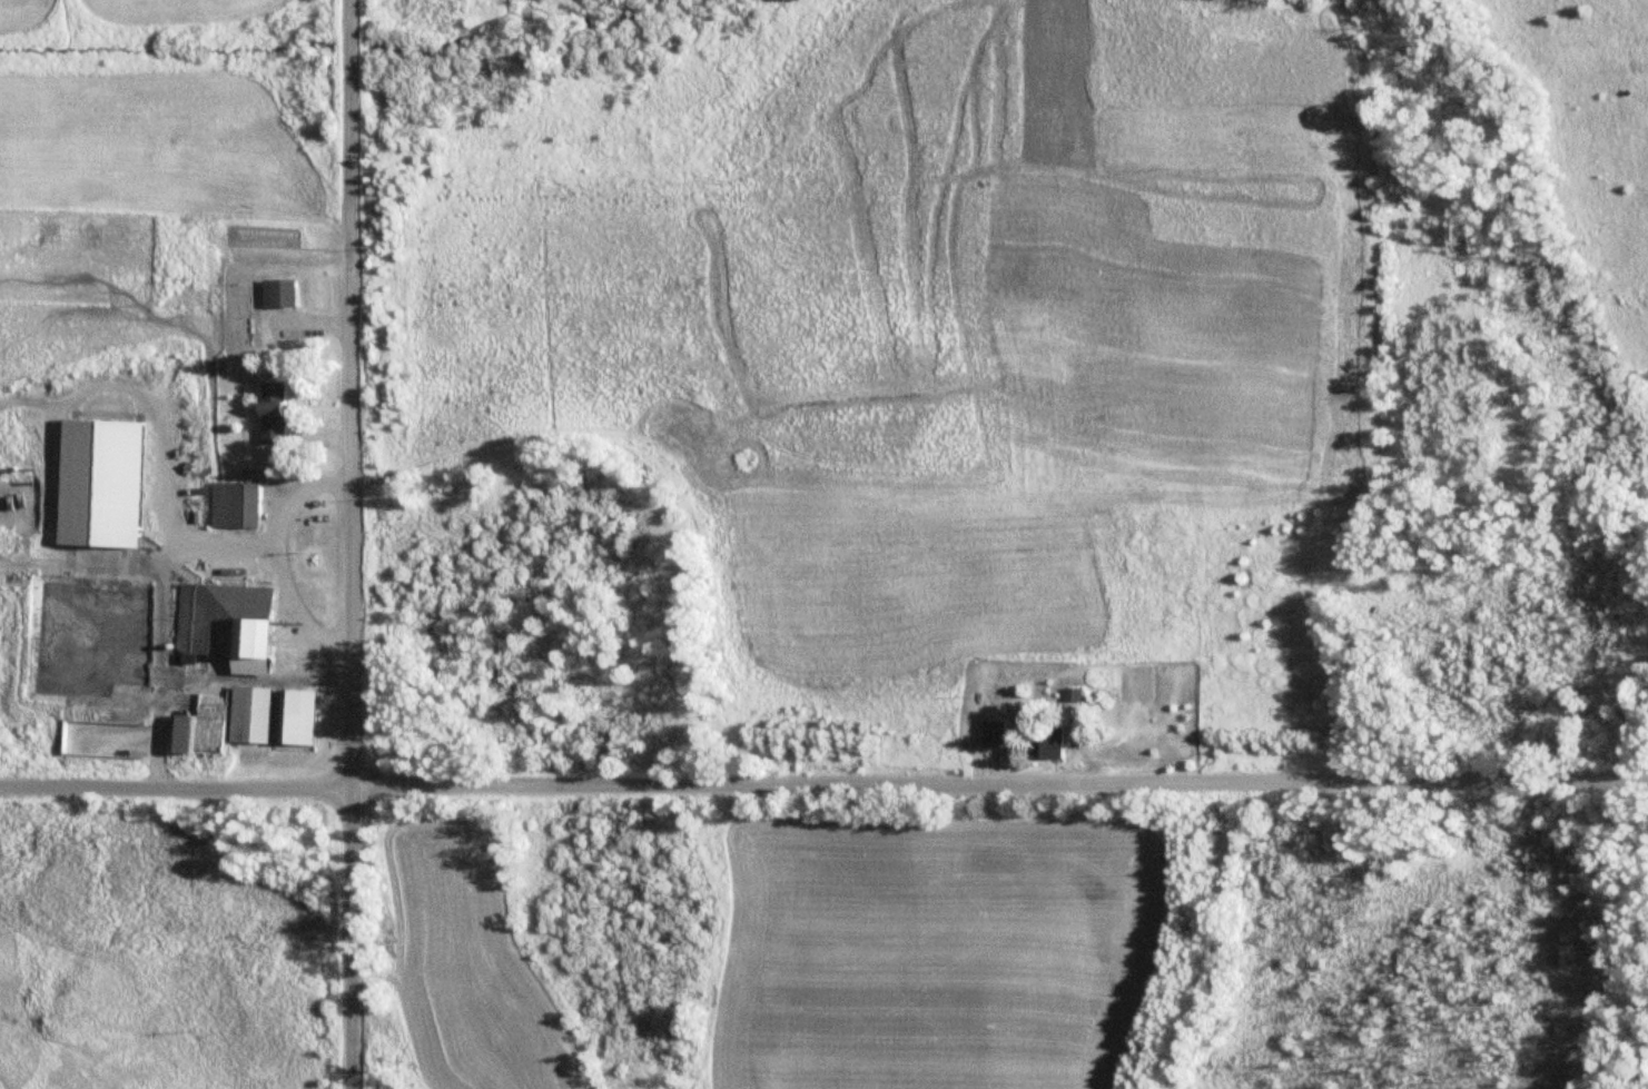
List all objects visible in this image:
building: (289, 291)
building: (256, 316)
road: (351, 393)
building: (282, 413)
building: (241, 505)
building: (236, 624)
building: (1079, 694)
building: (258, 714)
building: (305, 716)
building: (998, 731)
building: (1060, 740)
road: (823, 783)
road: (351, 938)

